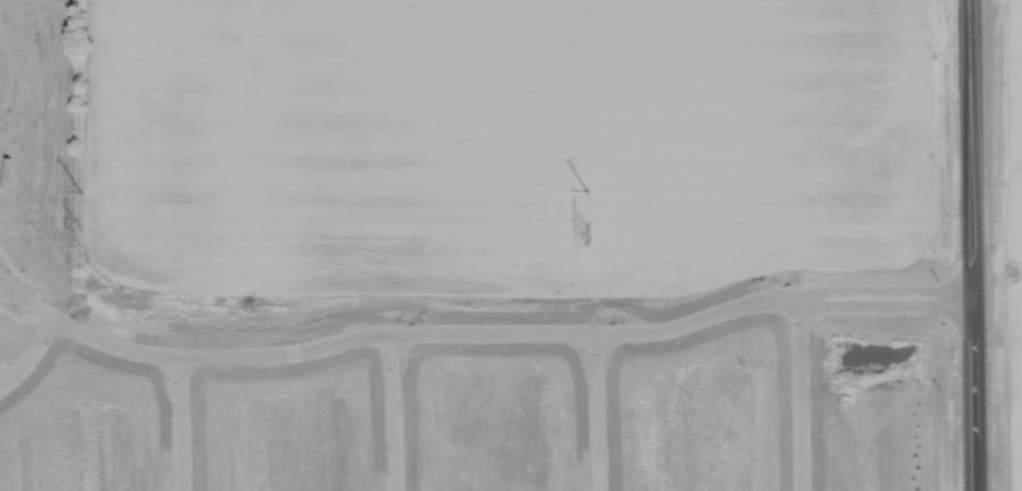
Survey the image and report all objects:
road: (3, 69)
power tower: (78, 189)
power tower: (585, 191)
power tower: (585, 234)
power tower: (74, 235)
road: (970, 245)
road: (464, 327)
road: (43, 363)
road: (803, 394)
road: (601, 407)
road: (392, 410)
road: (180, 425)

